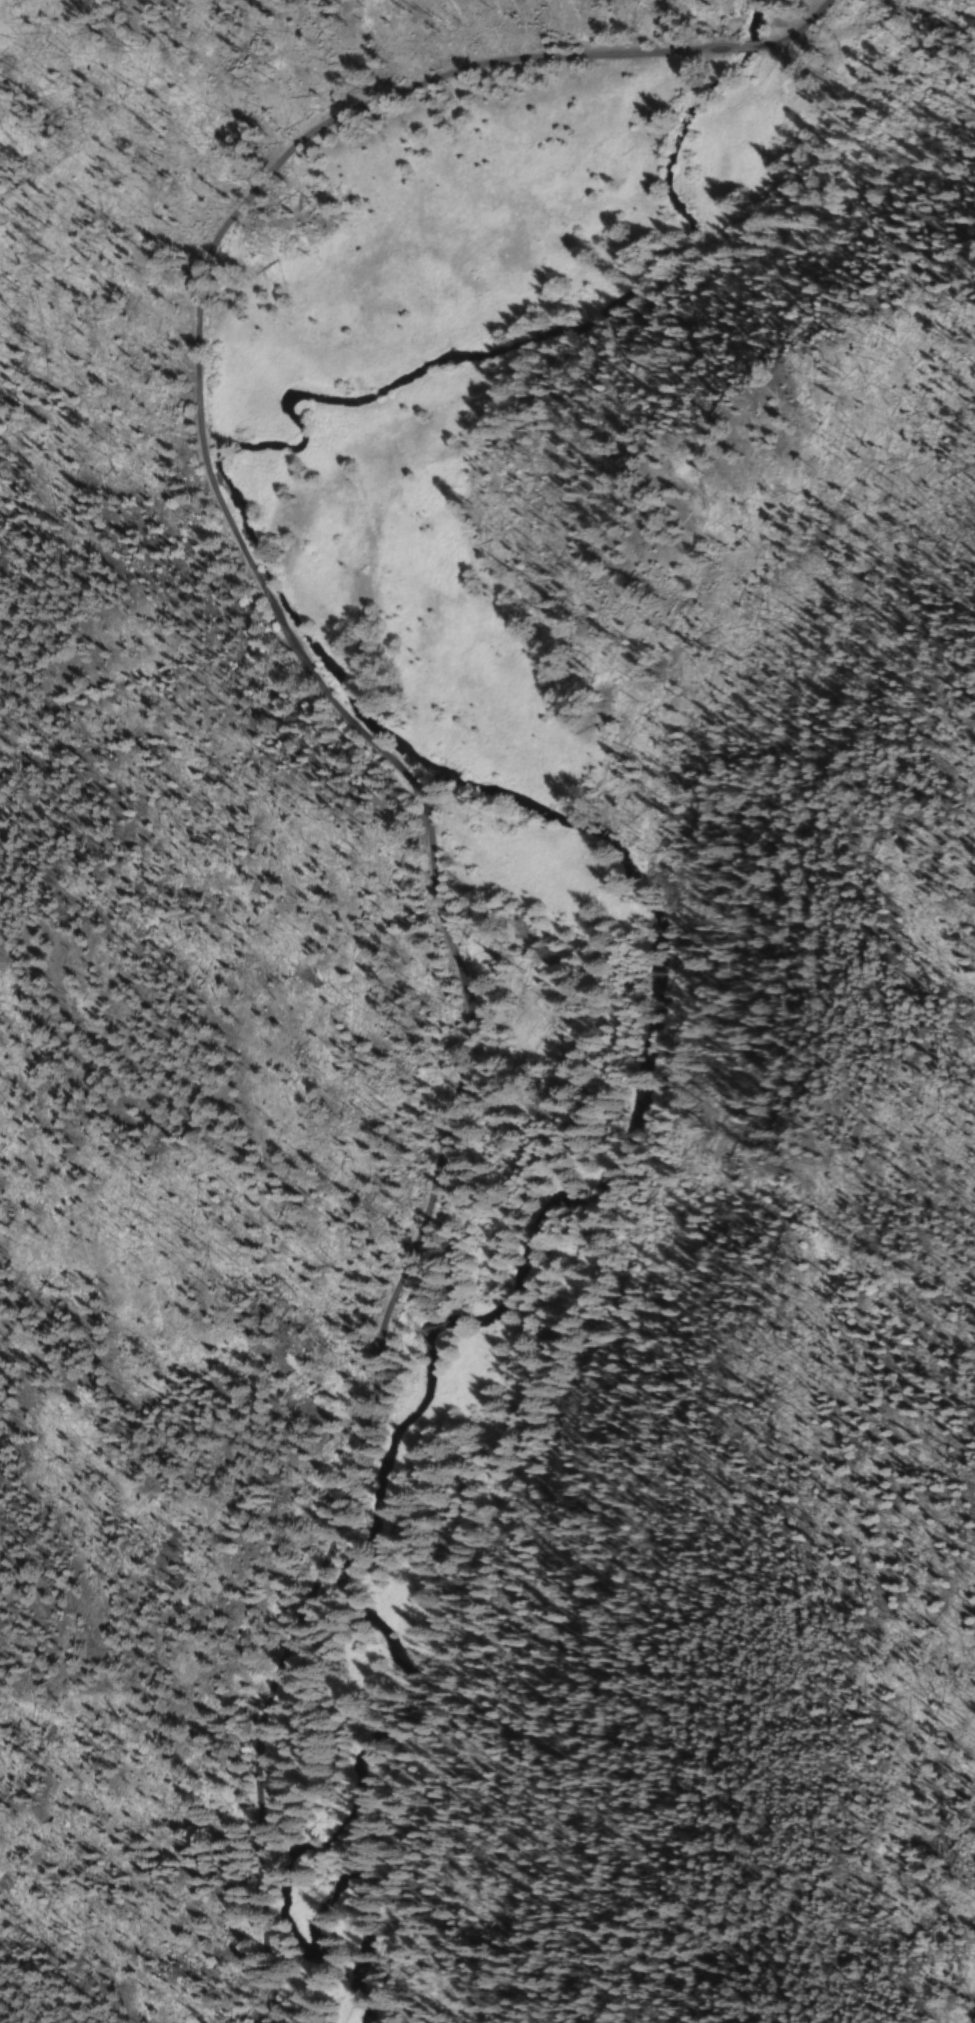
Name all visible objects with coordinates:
road: (797, 27)
road: (747, 46)
road: (426, 825)
river: (637, 898)

